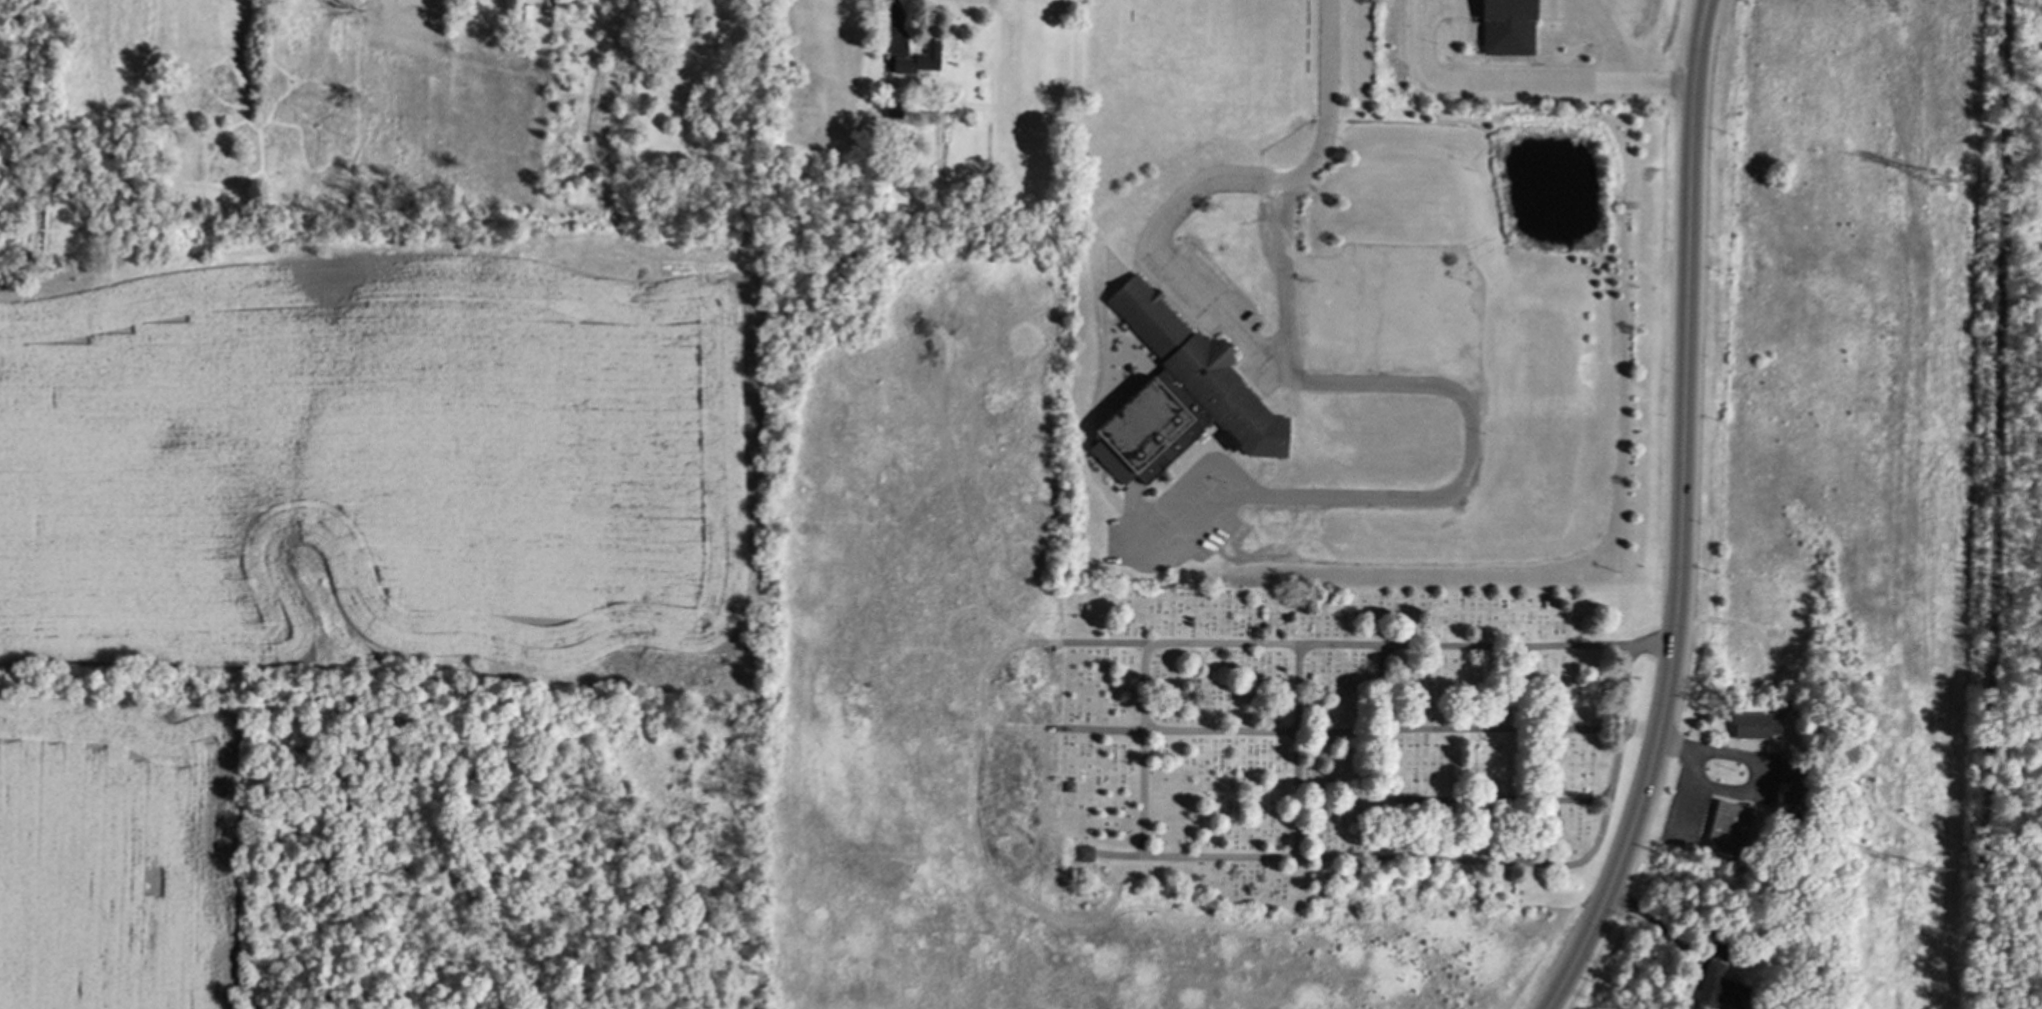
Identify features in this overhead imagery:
building: (1507, 27)
building: (919, 59)
road: (1618, 71)
road: (1325, 98)
road: (1693, 106)
power tower: (1938, 184)
road: (1218, 313)
building: (1179, 395)
road: (1342, 497)
road: (1996, 504)
crop: (340, 546)
road: (1675, 623)
building: (1754, 724)
building: (1787, 771)
road: (1733, 789)
road: (1687, 792)
building: (1727, 829)
building: (1084, 853)
power tower: (1922, 873)
building: (1717, 987)

